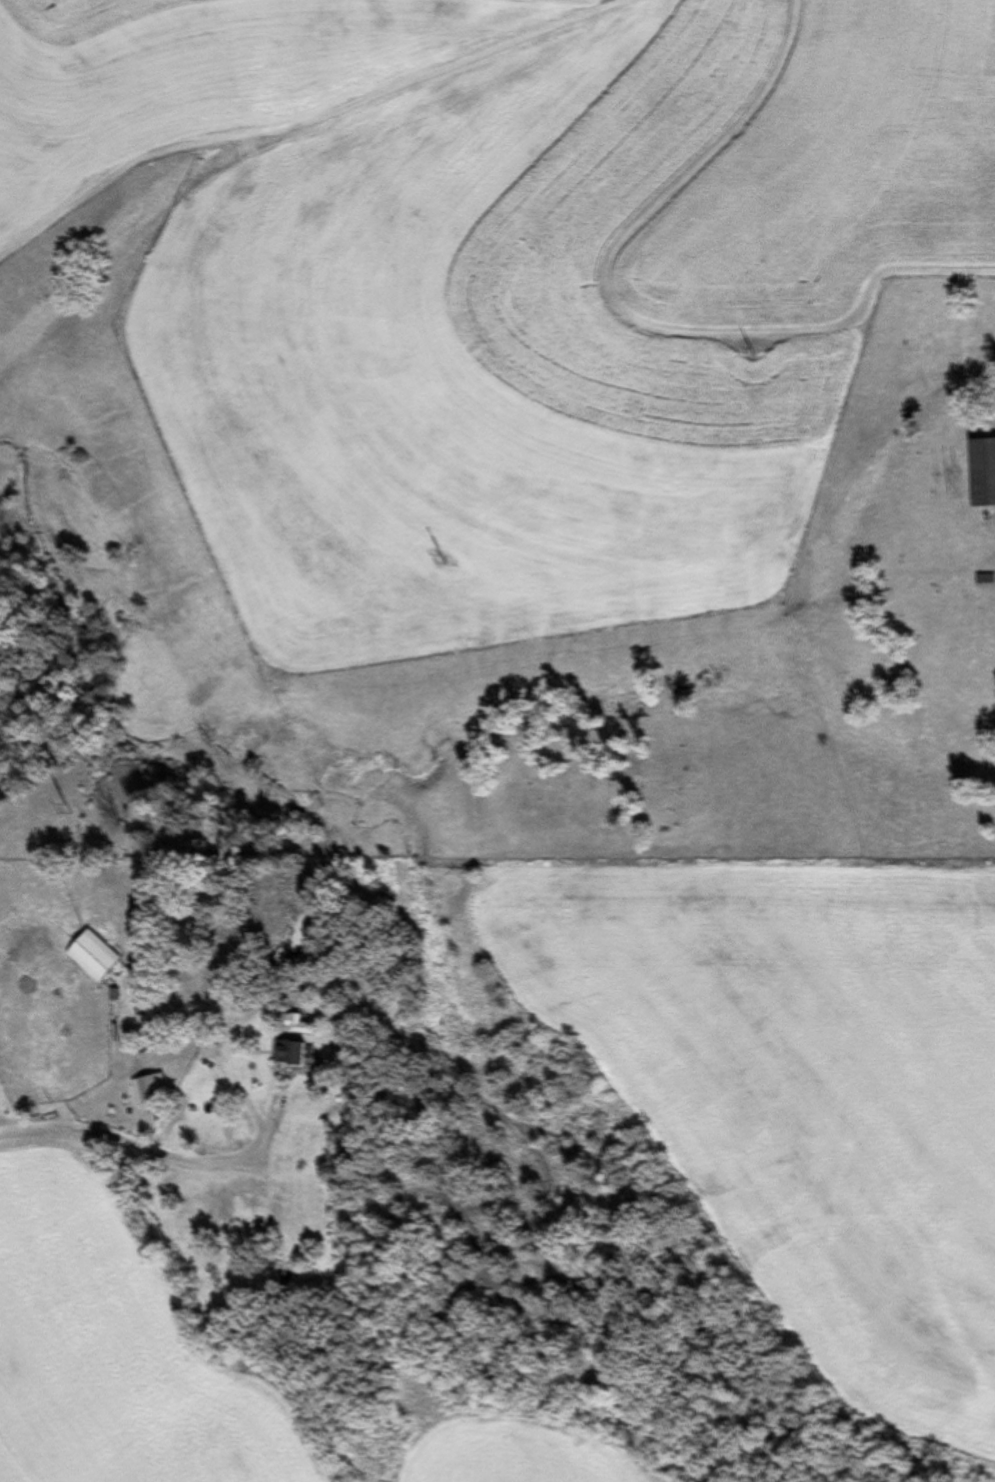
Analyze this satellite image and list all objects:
power tower: (766, 354)
building: (986, 473)
power tower: (449, 565)
power tower: (87, 806)
building: (100, 954)
building: (161, 1043)
building: (153, 1089)
road: (115, 1135)

